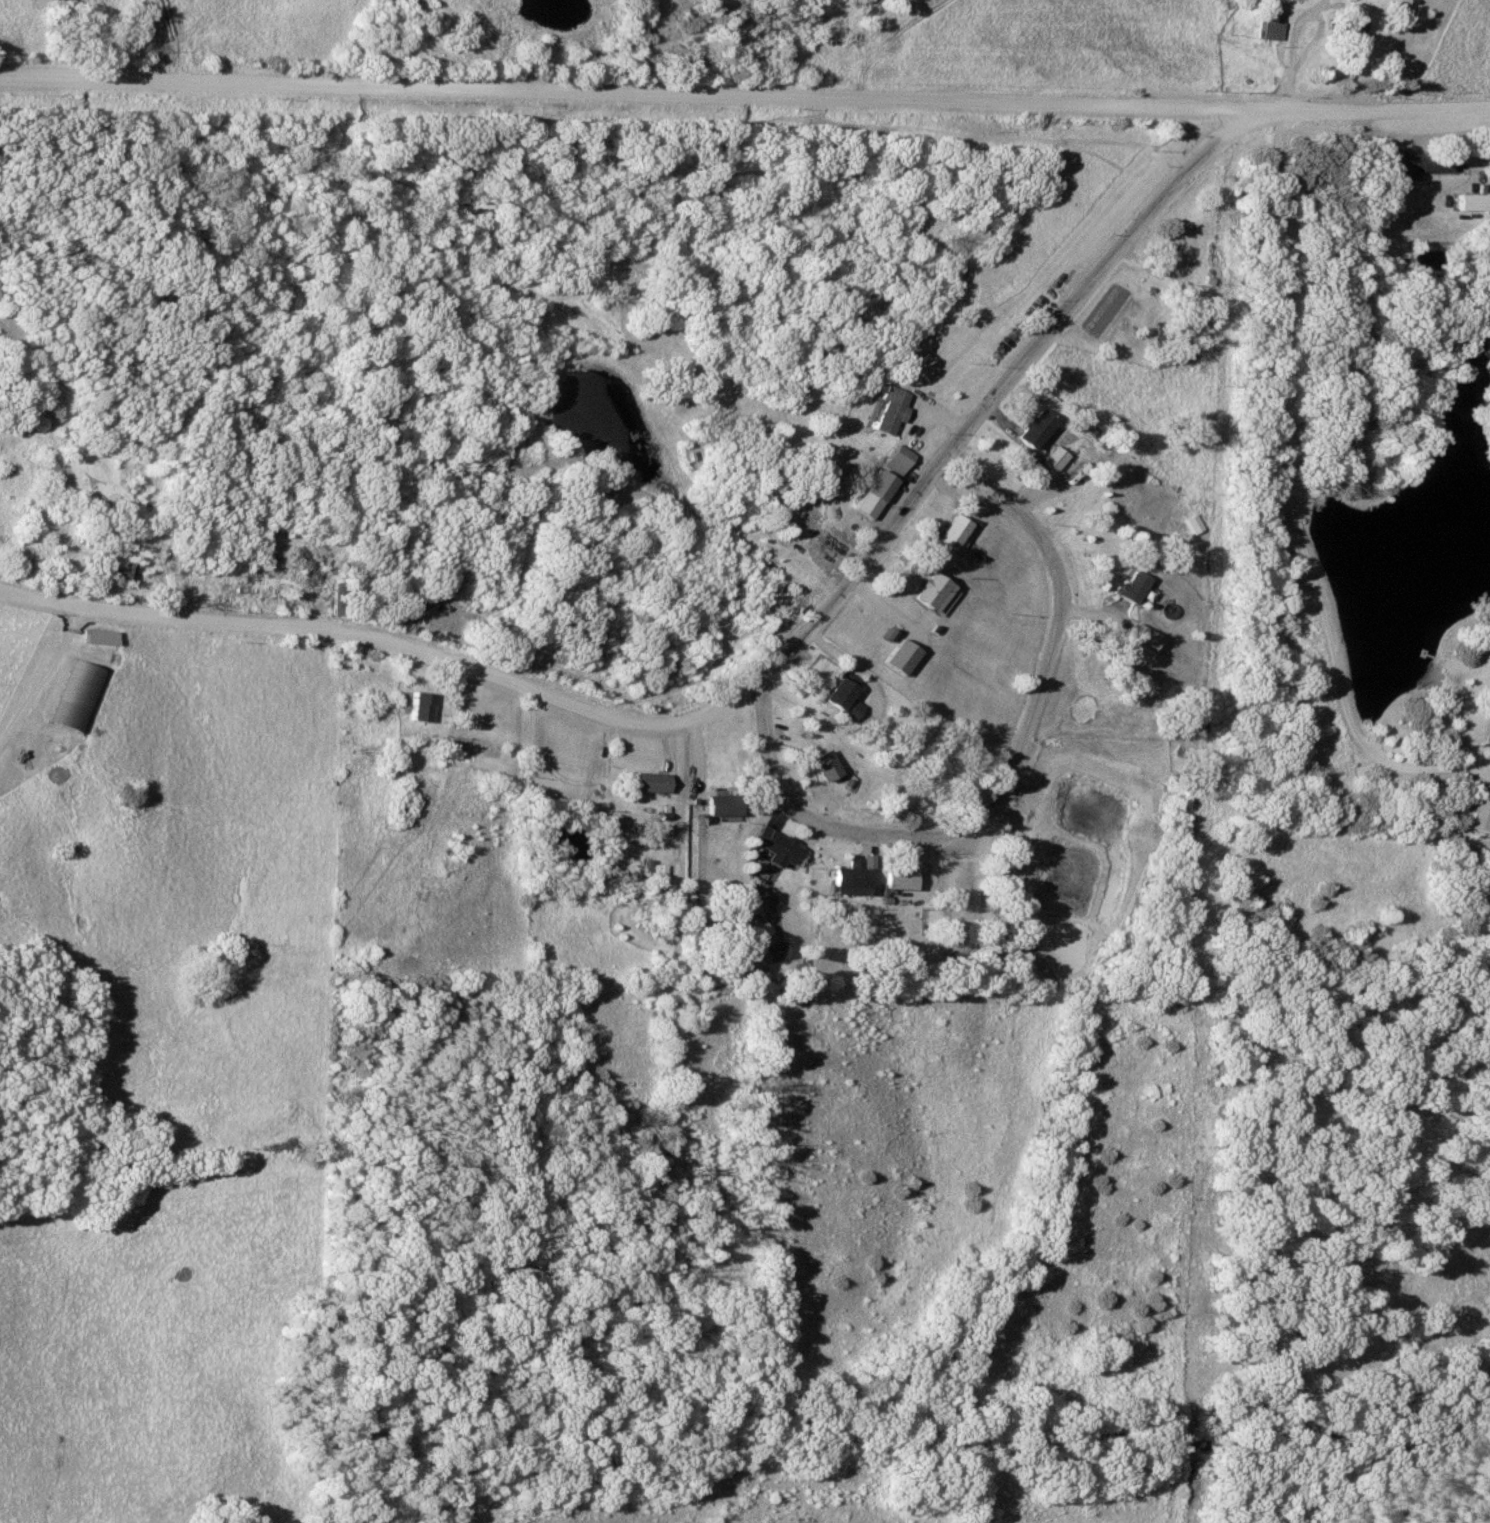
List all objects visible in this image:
building: (1271, 23)
building: (1350, 32)
road: (646, 91)
road: (1391, 109)
building: (1417, 163)
building: (1465, 202)
building: (1182, 249)
building: (887, 410)
building: (1030, 429)
building: (1051, 458)
building: (896, 459)
building: (877, 487)
road: (1289, 500)
building: (1194, 524)
building: (949, 532)
building: (304, 564)
building: (115, 567)
building: (1127, 587)
building: (929, 594)
building: (1136, 638)
road: (44, 673)
road: (761, 681)
road: (762, 697)
building: (76, 698)
building: (841, 698)
building: (420, 707)
building: (819, 764)
road: (1013, 764)
building: (648, 782)
building: (718, 804)
building: (1477, 817)
building: (771, 845)
building: (848, 878)
building: (894, 878)
building: (771, 951)

